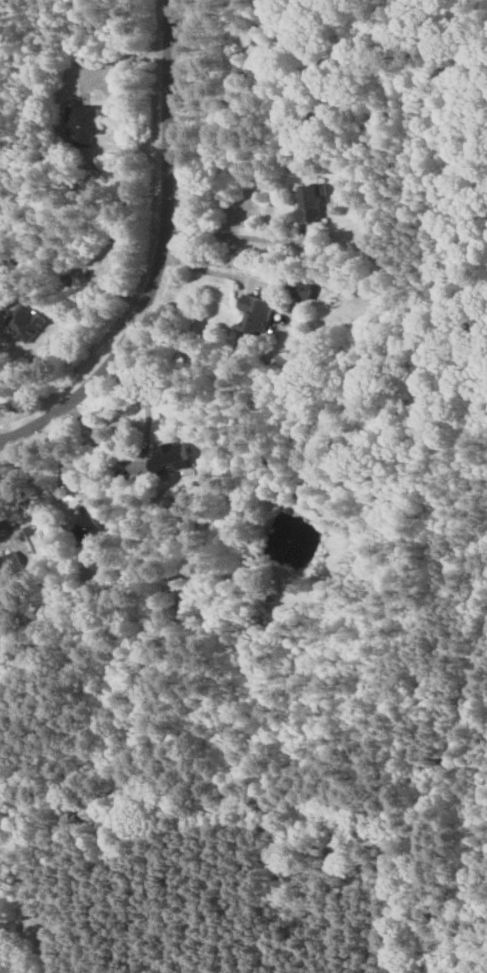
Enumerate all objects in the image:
road: (111, 99)
building: (82, 123)
building: (310, 204)
road: (234, 235)
road: (159, 258)
road: (212, 270)
building: (254, 314)
building: (20, 322)
road: (142, 452)
building: (171, 457)
road: (8, 520)
building: (89, 523)
road: (434, 800)

